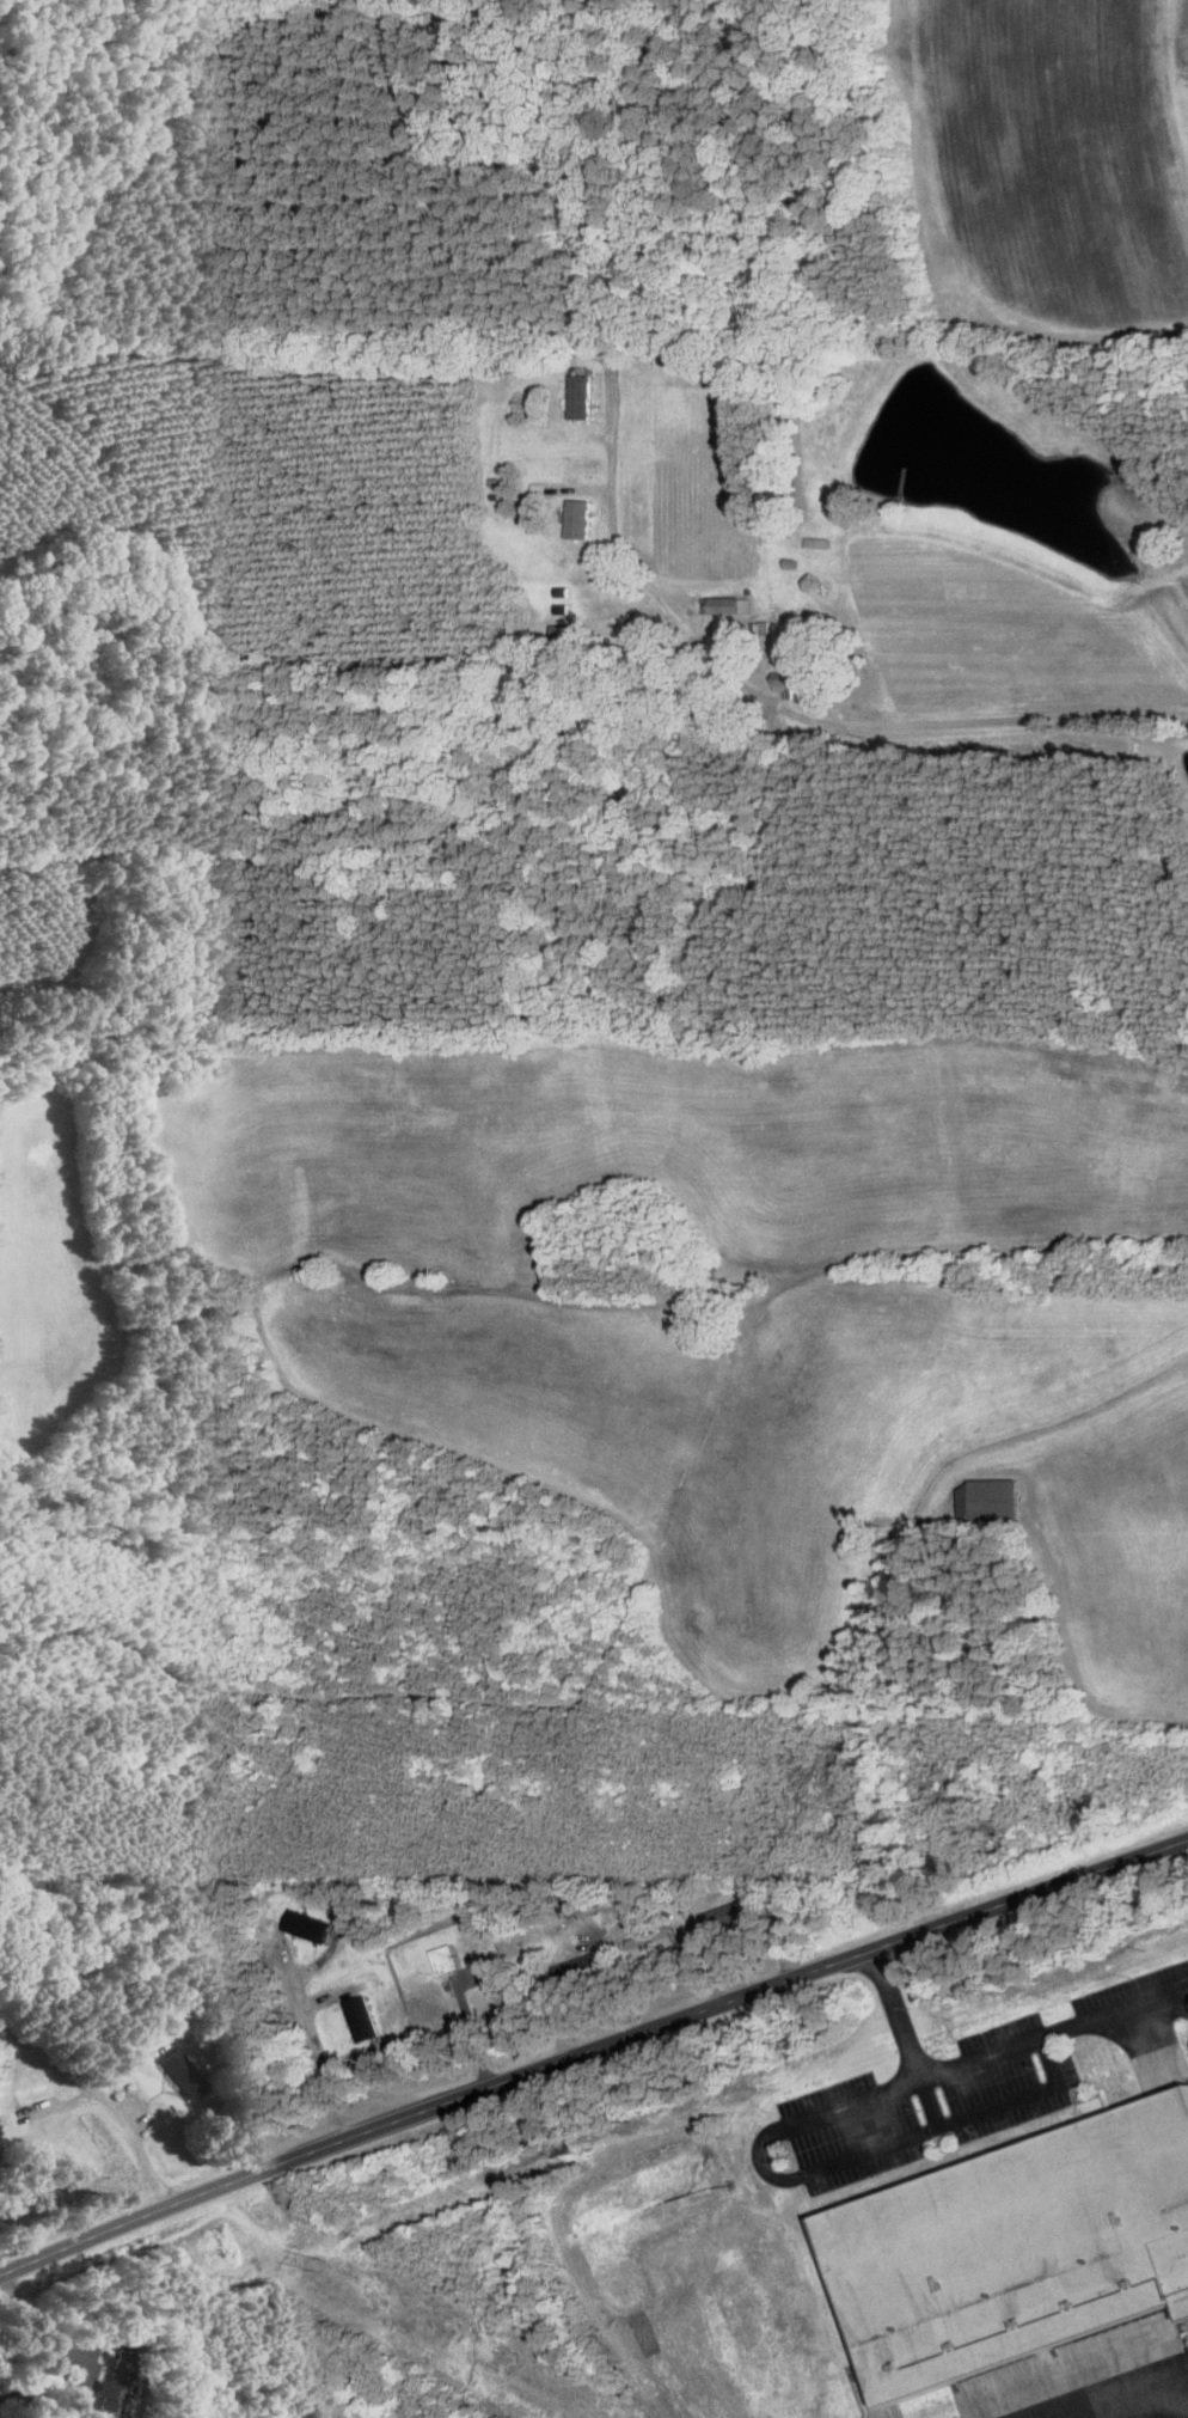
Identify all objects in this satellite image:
building: (580, 396)
building: (578, 518)
building: (817, 542)
building: (727, 604)
building: (644, 627)
building: (563, 631)
building: (791, 683)
road: (839, 722)
building: (711, 1269)
building: (988, 1501)
building: (728, 1915)
building: (308, 1924)
building: (651, 1942)
building: (445, 1959)
building: (578, 1968)
road: (1114, 2009)
building: (362, 2017)
road: (313, 2029)
road: (472, 2032)
road: (906, 2035)
road: (1151, 2043)
road: (589, 2048)
building: (180, 2074)
road: (98, 2101)
road: (54, 2109)
road: (780, 2175)
building: (1015, 2246)
power tower: (316, 2258)
road: (56, 2349)
building: (115, 2382)
road: (1129, 2396)

